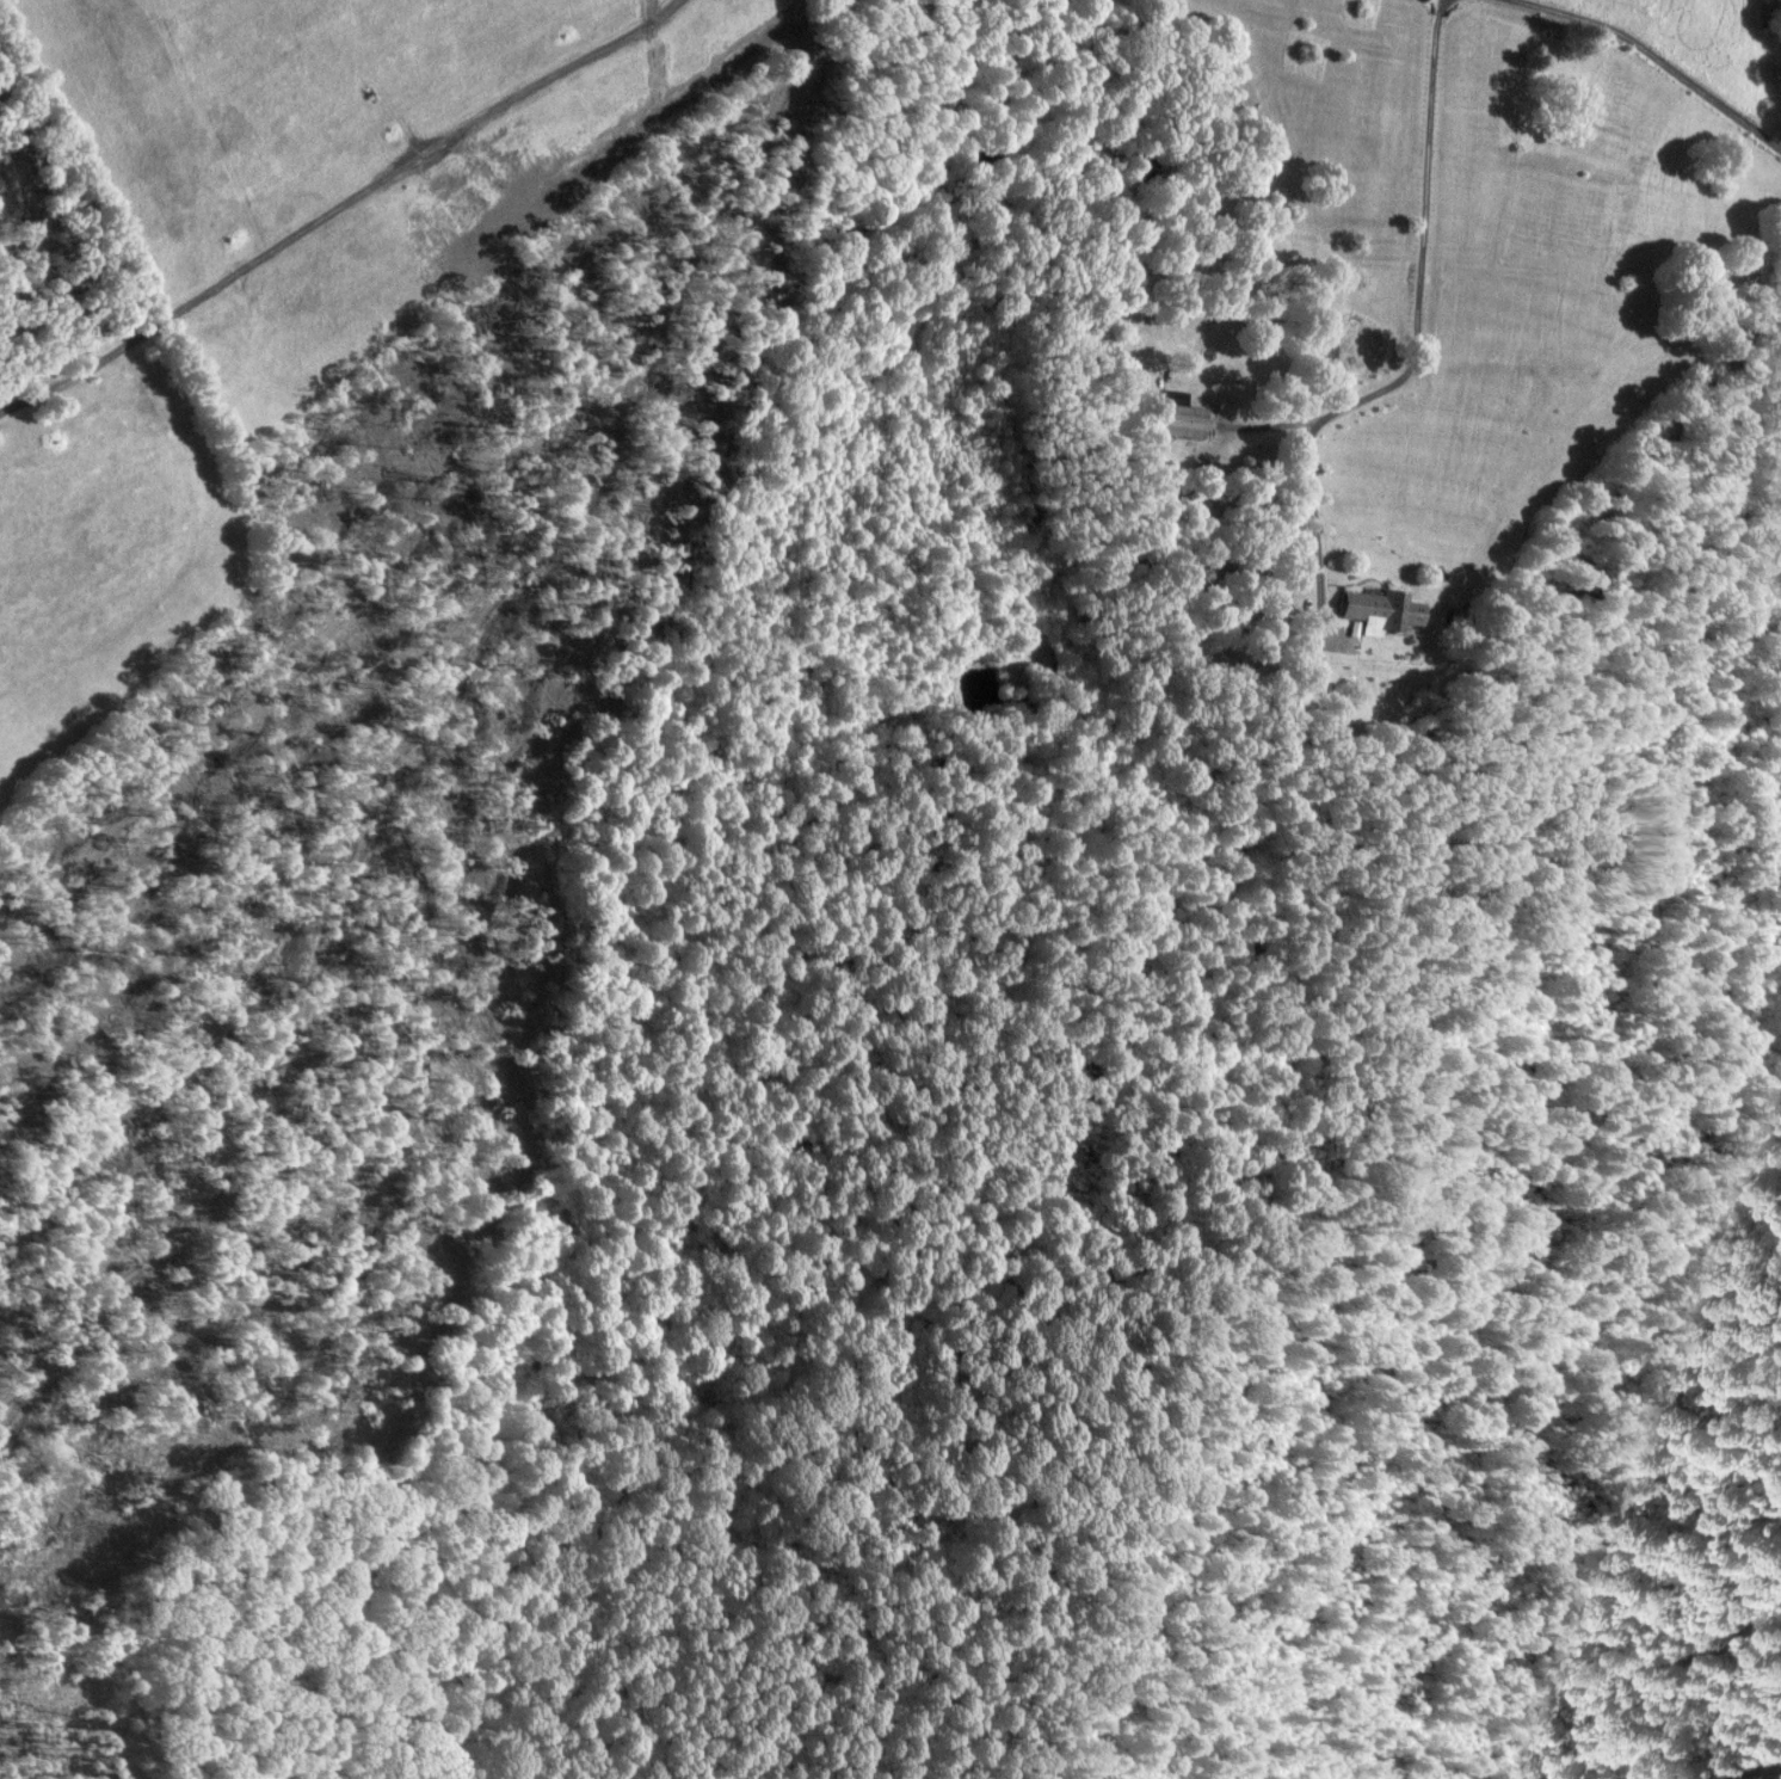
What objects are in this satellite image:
road: (1645, 61)
building: (1375, 605)

